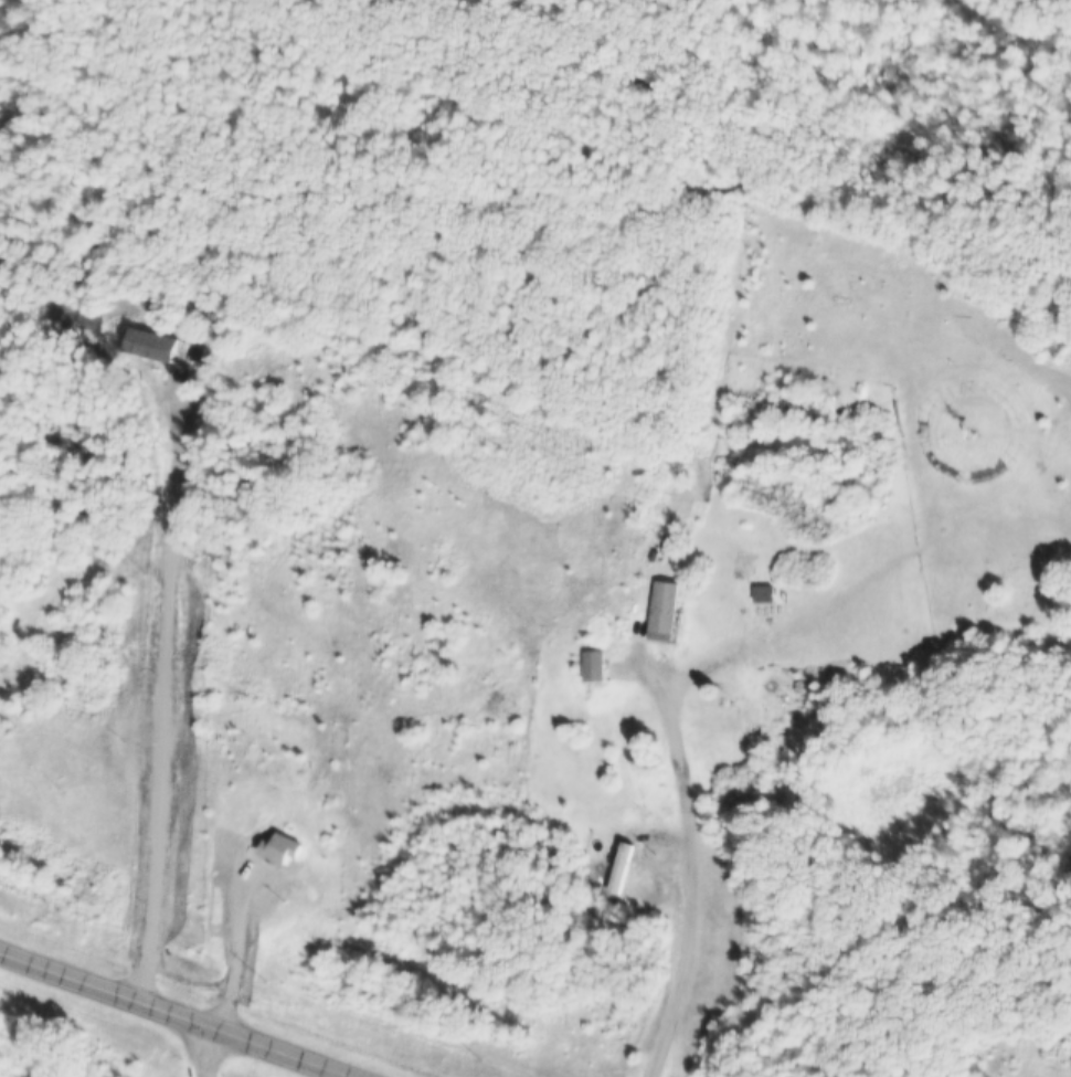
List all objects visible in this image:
building: (661, 608)
building: (593, 665)
building: (277, 848)
road: (693, 859)
building: (618, 873)
road: (235, 946)
road: (180, 1013)
road: (208, 1049)

